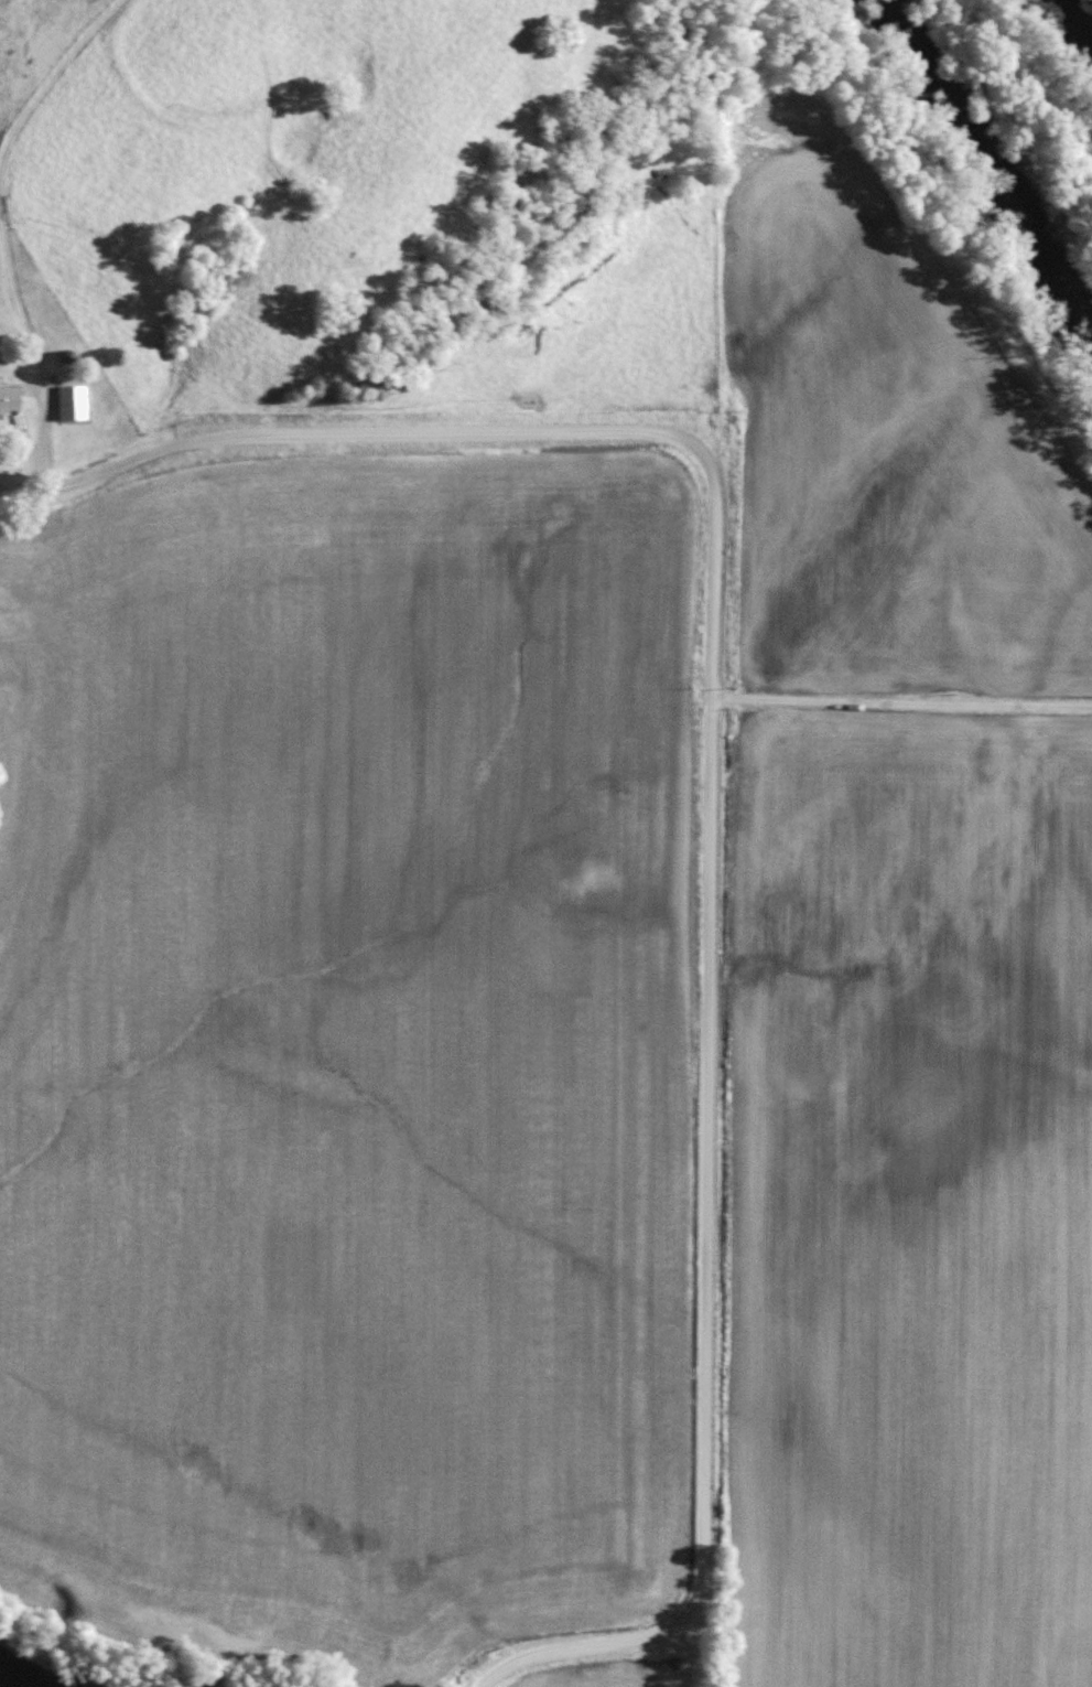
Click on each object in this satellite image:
river: (984, 157)
building: (10, 398)
building: (72, 402)
road: (732, 782)
river: (24, 1676)

